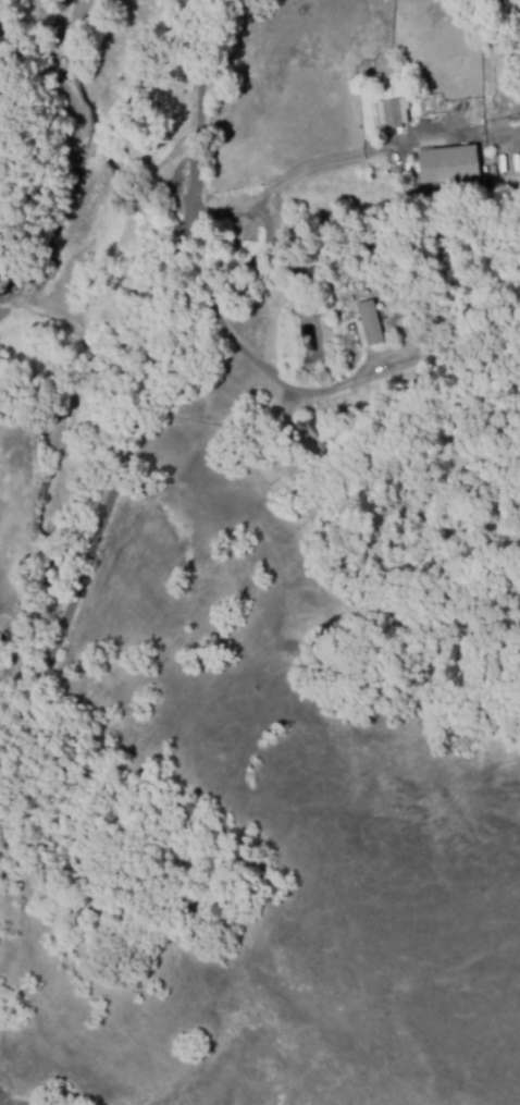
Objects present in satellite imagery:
building: (392, 112)
building: (446, 162)
road: (315, 170)
road: (228, 297)
building: (367, 323)
road: (150, 380)
building: (313, 433)

